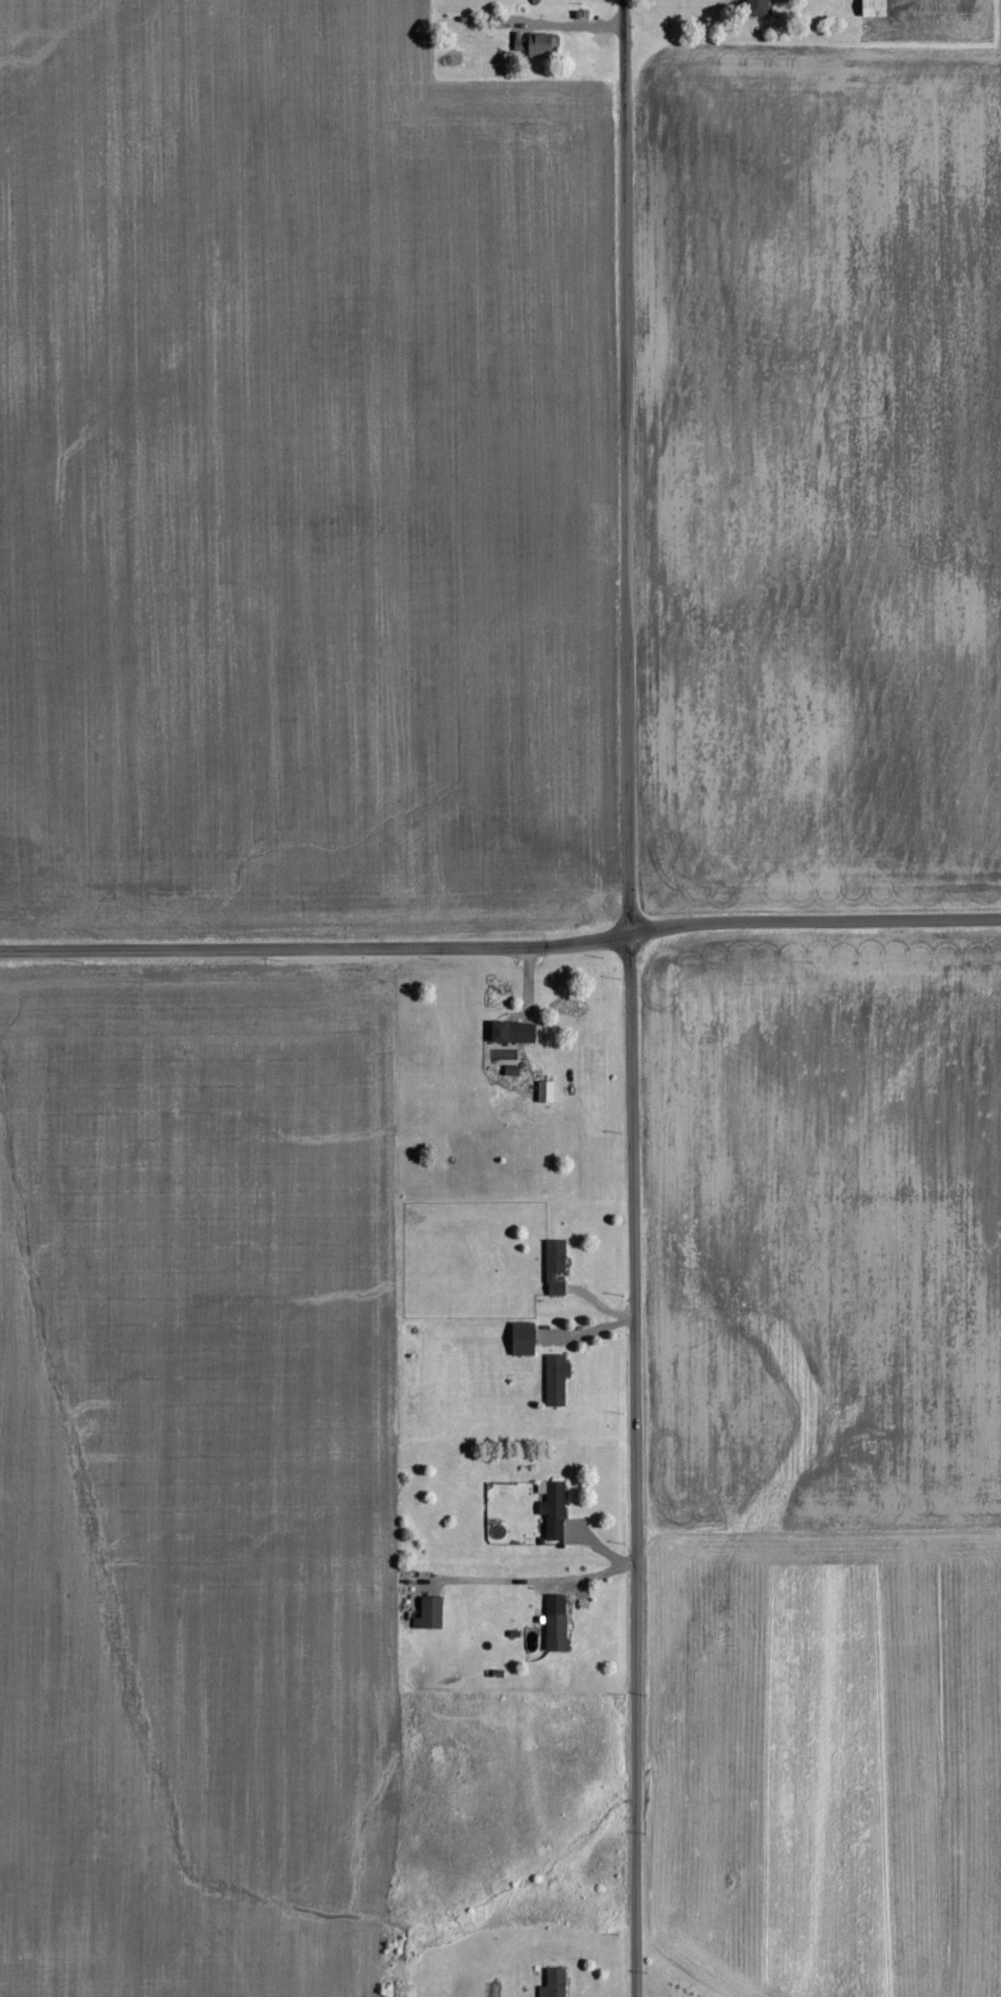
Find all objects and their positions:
building: (759, 7)
building: (876, 7)
road: (812, 918)
road: (313, 939)
road: (627, 998)
building: (515, 1032)
building: (547, 1091)
building: (556, 1267)
building: (525, 1339)
building: (557, 1380)
building: (554, 1509)
building: (431, 1614)
building: (557, 1623)
building: (555, 1983)

